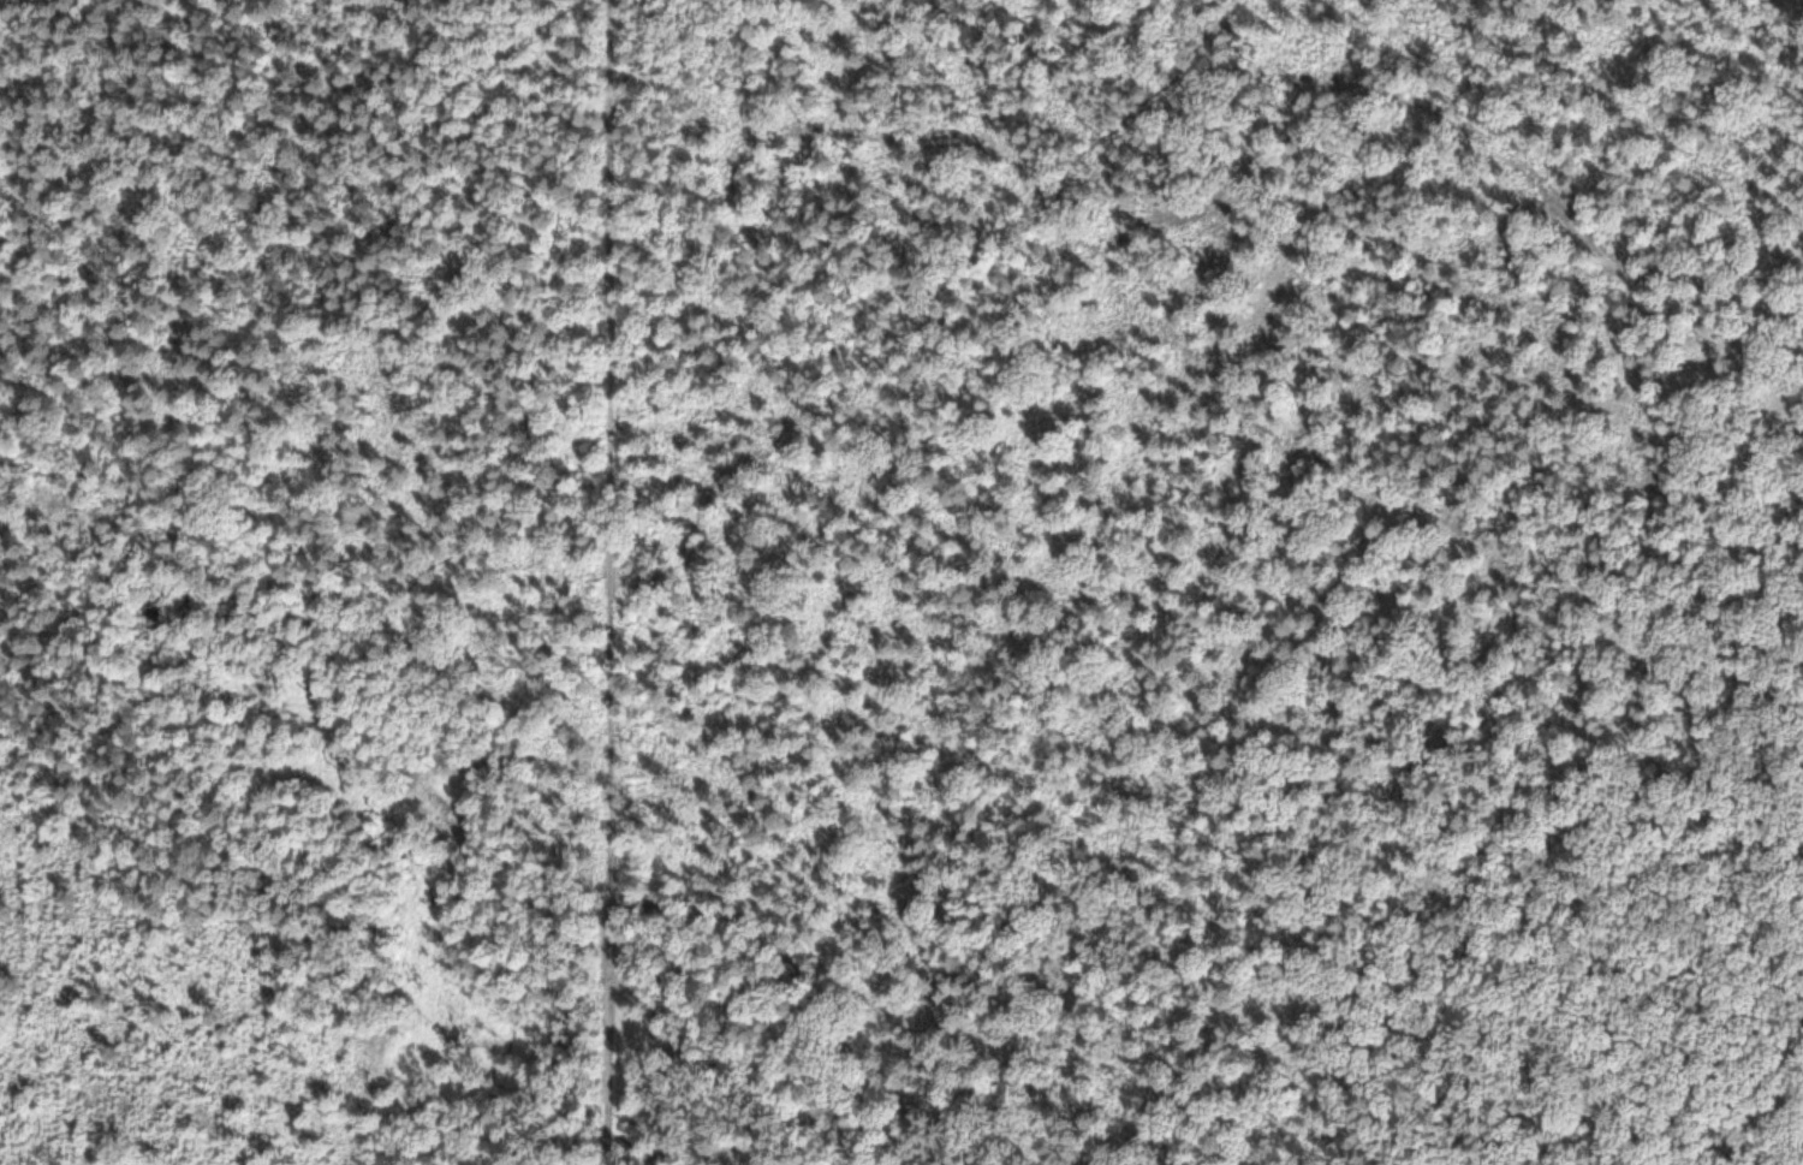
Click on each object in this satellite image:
road: (670, 44)
road: (609, 511)
road: (946, 558)
road: (1570, 619)
road: (798, 983)
road: (1799, 1028)
road: (606, 1044)
road: (607, 1115)

